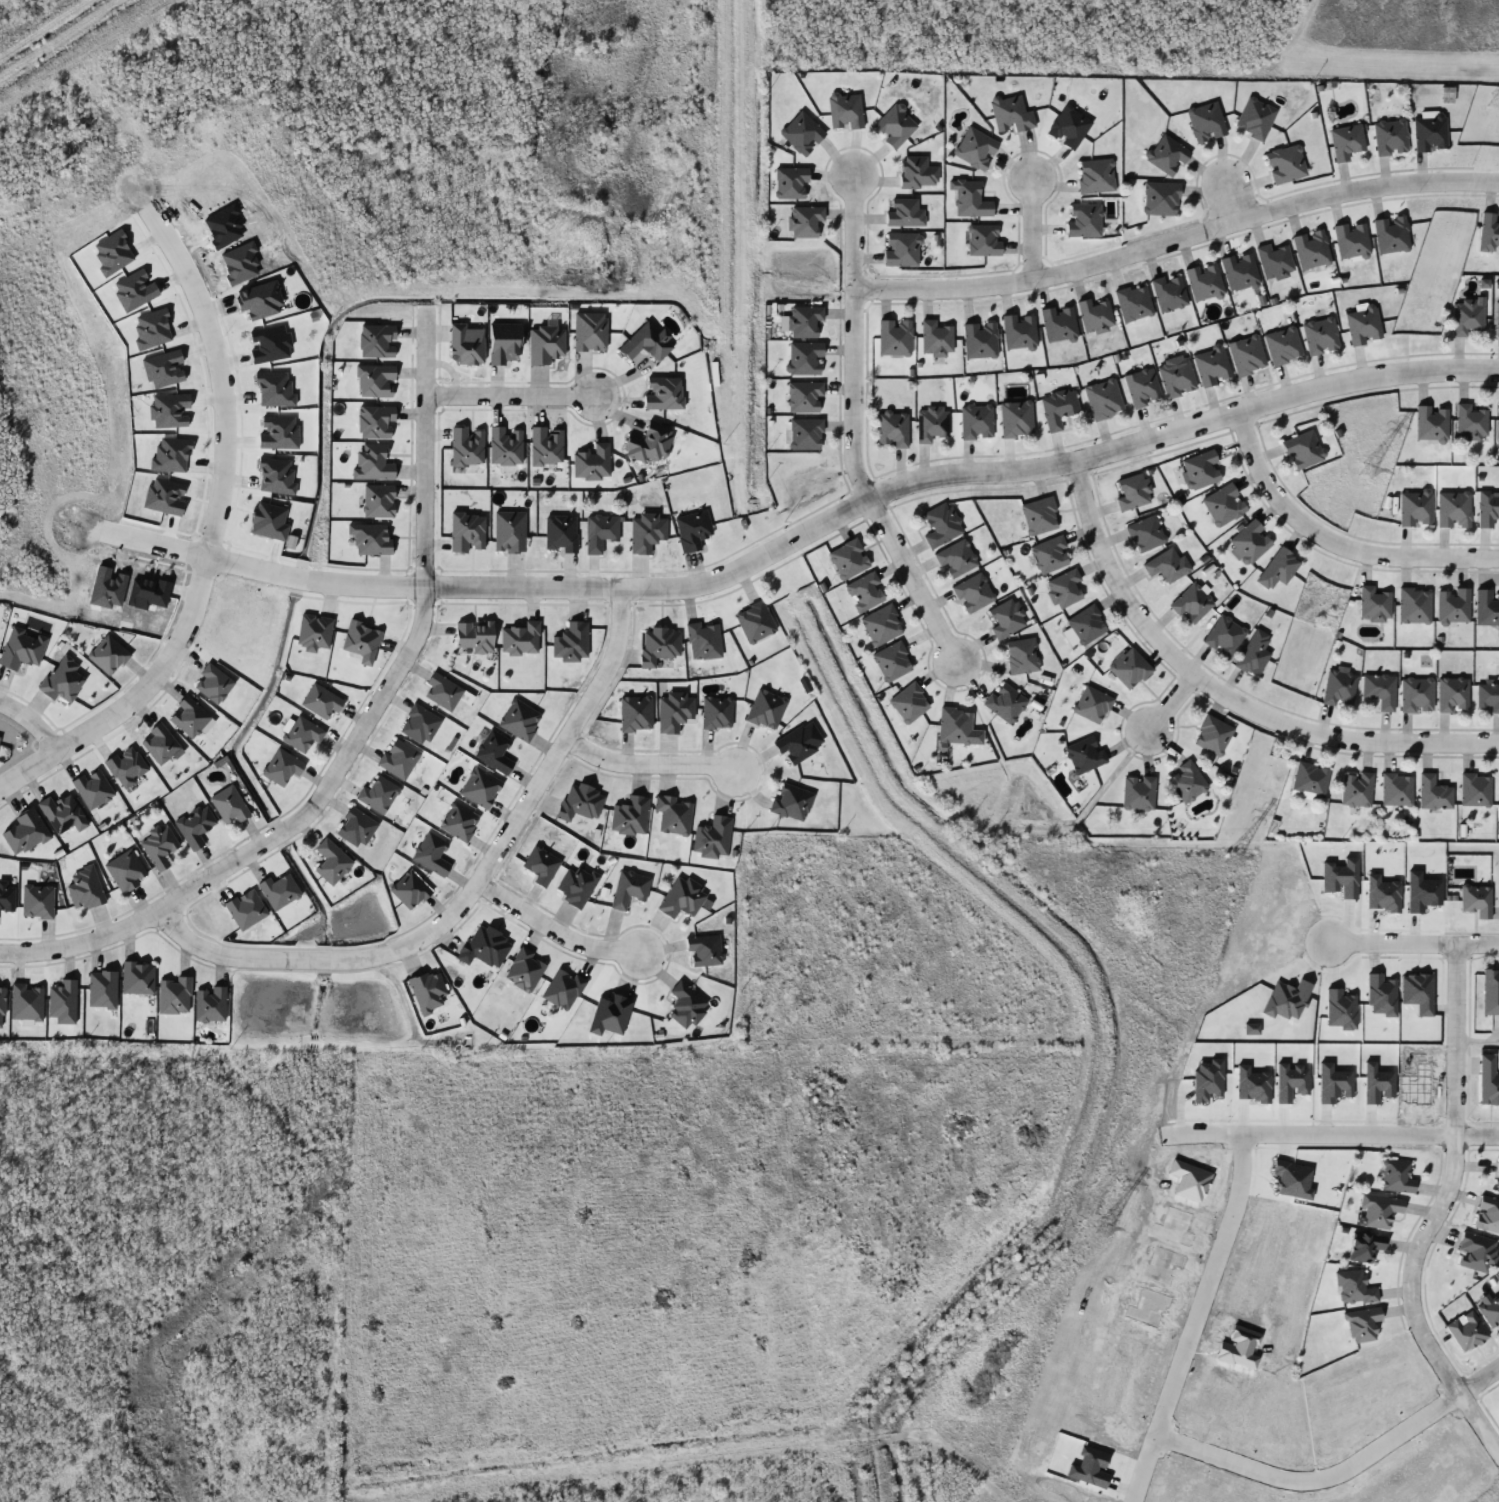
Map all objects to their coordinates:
building: (845, 110)
building: (1011, 113)
building: (1255, 118)
building: (1205, 122)
building: (894, 126)
building: (1069, 127)
building: (801, 133)
building: (1429, 134)
building: (1390, 137)
building: (1346, 141)
building: (975, 148)
building: (1166, 155)
building: (1284, 164)
building: (1095, 176)
building: (1160, 198)
road: (1229, 198)
building: (1083, 219)
building: (804, 220)
road: (1038, 226)
building: (1391, 234)
road: (1173, 236)
building: (1351, 240)
building: (901, 249)
building: (1311, 249)
building: (1274, 261)
building: (1239, 271)
building: (1204, 281)
building: (1169, 291)
building: (1133, 302)
building: (1094, 315)
building: (1467, 316)
building: (1497, 318)
building: (804, 321)
building: (1058, 323)
building: (1363, 325)
building: (1018, 331)
building: (589, 332)
building: (1320, 335)
building: (894, 337)
road: (848, 338)
building: (935, 338)
building: (979, 339)
building: (646, 342)
building: (545, 343)
building: (1282, 345)
building: (1246, 355)
building: (804, 358)
building: (1211, 366)
road: (215, 374)
building: (1176, 378)
building: (1142, 387)
road: (508, 392)
building: (804, 397)
building: (1103, 399)
building: (1057, 408)
building: (1016, 418)
building: (976, 422)
building: (1470, 422)
building: (931, 423)
building: (1431, 423)
building: (892, 429)
building: (806, 434)
building: (650, 443)
building: (1302, 450)
building: (591, 462)
building: (1200, 470)
road: (904, 487)
building: (1133, 491)
building: (378, 501)
building: (1223, 504)
building: (1487, 507)
building: (1415, 508)
building: (1453, 509)
building: (1039, 515)
building: (941, 525)
building: (692, 529)
building: (646, 530)
building: (509, 531)
building: (599, 531)
building: (560, 532)
building: (1145, 533)
road: (1334, 541)
building: (1249, 542)
road: (154, 548)
building: (1050, 554)
building: (848, 559)
building: (956, 559)
road: (263, 565)
building: (1167, 565)
building: (1278, 568)
road: (912, 584)
road: (197, 588)
building: (1064, 588)
building: (864, 592)
building: (973, 593)
building: (1192, 604)
building: (1414, 604)
building: (1374, 605)
building: (1452, 605)
building: (1486, 608)
building: (1007, 618)
building: (754, 621)
building: (881, 625)
building: (1085, 625)
building: (314, 632)
building: (1224, 635)
building: (520, 638)
building: (703, 641)
building: (570, 642)
building: (658, 645)
building: (1253, 654)
building: (1021, 655)
building: (892, 661)
building: (1128, 668)
building: (1339, 688)
building: (1379, 689)
building: (442, 691)
building: (1416, 694)
building: (1452, 694)
building: (1487, 697)
road: (1221, 698)
building: (320, 701)
building: (909, 703)
building: (1004, 703)
building: (1091, 704)
road: (1169, 707)
building: (765, 709)
building: (674, 711)
building: (716, 711)
building: (635, 714)
road: (105, 717)
building: (519, 719)
road: (28, 721)
building: (419, 724)
building: (954, 725)
road: (357, 732)
building: (302, 733)
building: (1213, 735)
building: (795, 744)
building: (493, 751)
building: (1084, 754)
building: (398, 758)
road: (649, 763)
building: (281, 766)
building: (1310, 779)
building: (1186, 782)
building: (479, 788)
building: (1356, 789)
building: (1396, 789)
building: (1476, 789)
building: (1138, 792)
building: (1434, 793)
building: (377, 794)
building: (580, 801)
building: (791, 801)
building: (228, 805)
building: (672, 814)
building: (629, 815)
building: (459, 822)
building: (355, 827)
building: (712, 836)
road: (1472, 841)
building: (430, 854)
building: (331, 861)
building: (541, 865)
road: (461, 884)
building: (576, 885)
building: (628, 888)
building: (409, 890)
building: (1478, 892)
building: (681, 898)
road: (548, 922)
road: (1479, 939)
building: (484, 947)
building: (704, 949)
building: (524, 970)
building: (562, 988)
building: (1490, 991)
building: (685, 1005)
building: (609, 1014)
road: (1479, 1033)
building: (1488, 1080)
road: (1479, 1142)
building: (1498, 1176)
building: (1396, 1177)
road: (1441, 1208)
building: (1380, 1210)
building: (1487, 1215)
building: (1365, 1246)
building: (1477, 1252)
building: (1353, 1287)
building: (1490, 1311)
building: (1362, 1323)
building: (1466, 1331)
road: (1479, 1380)

